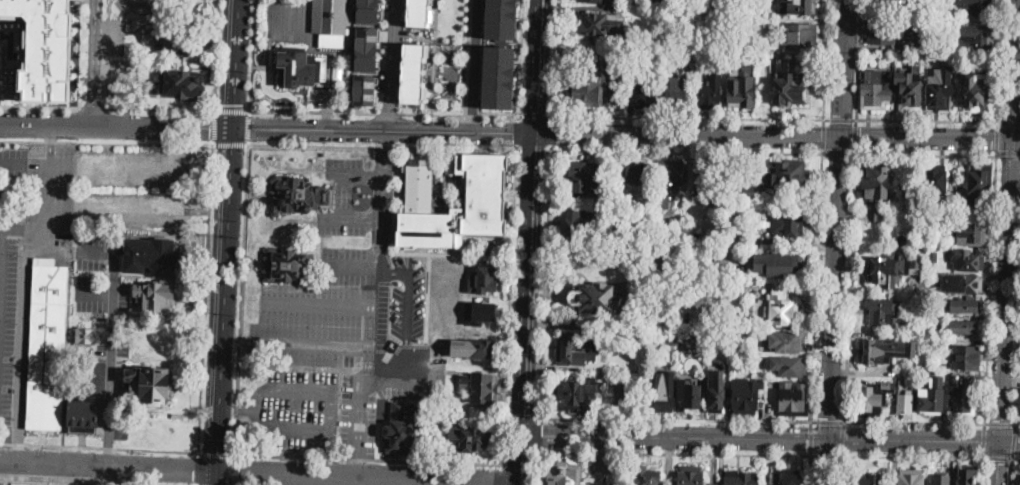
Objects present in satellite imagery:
building: (673, 0)
building: (604, 1)
building: (898, 1)
building: (796, 6)
building: (976, 6)
building: (368, 11)
building: (419, 12)
building: (629, 12)
building: (501, 19)
building: (331, 21)
building: (599, 25)
building: (746, 25)
building: (759, 26)
building: (888, 31)
building: (663, 35)
building: (800, 35)
parking lot: (113, 36)
building: (974, 37)
building: (175, 41)
building: (45, 48)
building: (367, 48)
building: (688, 52)
building: (635, 55)
road: (217, 56)
road: (252, 56)
road: (520, 57)
road: (554, 57)
road: (826, 59)
road: (858, 59)
road: (95, 63)
road: (999, 63)
road: (392, 65)
road: (476, 66)
building: (300, 67)
road: (844, 69)
road: (635, 71)
building: (340, 72)
building: (414, 72)
building: (499, 77)
parking lot: (118, 81)
building: (787, 84)
building: (185, 85)
building: (595, 87)
building: (711, 87)
building: (742, 87)
building: (365, 89)
building: (876, 90)
building: (909, 90)
building: (974, 91)
building: (640, 93)
building: (676, 93)
building: (939, 93)
parking lot: (323, 96)
road: (41, 106)
road: (94, 107)
road: (161, 109)
traffic signals: (234, 109)
road: (313, 110)
road: (326, 111)
road: (232, 112)
road: (389, 112)
road: (459, 113)
road: (535, 116)
road: (688, 116)
road: (631, 118)
road: (839, 118)
road: (927, 119)
road: (1008, 122)
traffic signals: (211, 128)
road: (214, 128)
traffic signals: (253, 128)
road: (249, 129)
road: (420, 131)
road: (516, 131)
road: (551, 132)
road: (824, 134)
road: (855, 134)
road: (930, 139)
road: (997, 139)
road: (48, 143)
road: (106, 143)
road: (230, 144)
road: (381, 147)
road: (532, 148)
road: (686, 150)
road: (838, 150)
road: (1008, 152)
road: (386, 153)
road: (926, 153)
road: (13, 160)
parking lot: (13, 161)
road: (60, 162)
building: (636, 173)
building: (671, 174)
building: (702, 175)
building: (782, 176)
building: (585, 178)
building: (874, 180)
building: (979, 183)
building: (937, 185)
building: (487, 193)
building: (749, 193)
building: (298, 195)
building: (619, 198)
road: (115, 208)
road: (209, 211)
building: (882, 215)
road: (355, 219)
road: (1007, 219)
parking lot: (76, 222)
building: (787, 224)
building: (580, 226)
building: (966, 234)
road: (229, 235)
building: (696, 236)
building: (663, 239)
building: (929, 241)
road: (530, 242)
building: (937, 245)
road: (594, 247)
building: (152, 255)
building: (933, 256)
road: (1, 259)
building: (967, 260)
building: (695, 261)
building: (777, 262)
building: (287, 265)
road: (351, 265)
building: (893, 267)
building: (479, 278)
parking lot: (101, 281)
road: (545, 284)
road: (816, 284)
road: (850, 284)
building: (965, 284)
road: (990, 286)
road: (659, 287)
building: (922, 287)
parking lot: (658, 288)
road: (95, 293)
building: (156, 296)
building: (598, 297)
road: (205, 298)
road: (241, 299)
road: (318, 305)
building: (964, 305)
road: (510, 306)
building: (478, 309)
building: (775, 310)
road: (372, 311)
road: (832, 311)
building: (881, 312)
building: (903, 320)
road: (407, 321)
road: (592, 324)
parking lot: (350, 325)
building: (963, 327)
building: (705, 334)
building: (86, 336)
building: (643, 338)
road: (112, 341)
building: (674, 342)
building: (786, 342)
building: (471, 344)
building: (705, 346)
building: (48, 347)
building: (741, 347)
parking lot: (113, 348)
building: (578, 349)
building: (884, 350)
road: (369, 355)
building: (967, 358)
building: (760, 359)
building: (748, 362)
building: (792, 366)
road: (1018, 368)
building: (753, 369)
building: (150, 384)
building: (482, 387)
building: (717, 391)
building: (661, 395)
building: (746, 395)
building: (961, 395)
building: (689, 396)
building: (932, 396)
building: (581, 397)
building: (875, 397)
building: (792, 398)
building: (905, 403)
road: (236, 406)
road: (363, 407)
building: (84, 417)
road: (676, 420)
road: (826, 421)
road: (914, 421)
road: (1000, 422)
road: (1018, 422)
road: (250, 427)
building: (402, 429)
road: (539, 435)
road: (760, 435)
road: (43, 437)
building: (464, 437)
road: (811, 437)
road: (842, 438)
road: (82, 439)
road: (983, 439)
road: (1013, 439)
road: (1009, 440)
road: (99, 446)
road: (216, 452)
road: (674, 452)
road: (826, 454)
road: (912, 456)
road: (996, 457)
road: (1015, 458)
road: (369, 459)
road: (996, 462)
road: (359, 464)
road: (108, 466)
road: (197, 468)
road: (537, 468)
road: (233, 469)
road: (810, 469)
road: (841, 470)
road: (981, 471)
road: (1010, 471)
road: (504, 474)
building: (564, 474)
building: (646, 474)
road: (87, 475)
building: (692, 475)
building: (1017, 476)
building: (787, 477)
building: (910, 477)
building: (966, 477)
road: (217, 478)
road: (367, 478)
building: (740, 478)
road: (88, 480)
road: (334, 480)
building: (869, 480)
building: (940, 480)
road: (8, 481)
road: (382, 481)
road: (474, 483)

